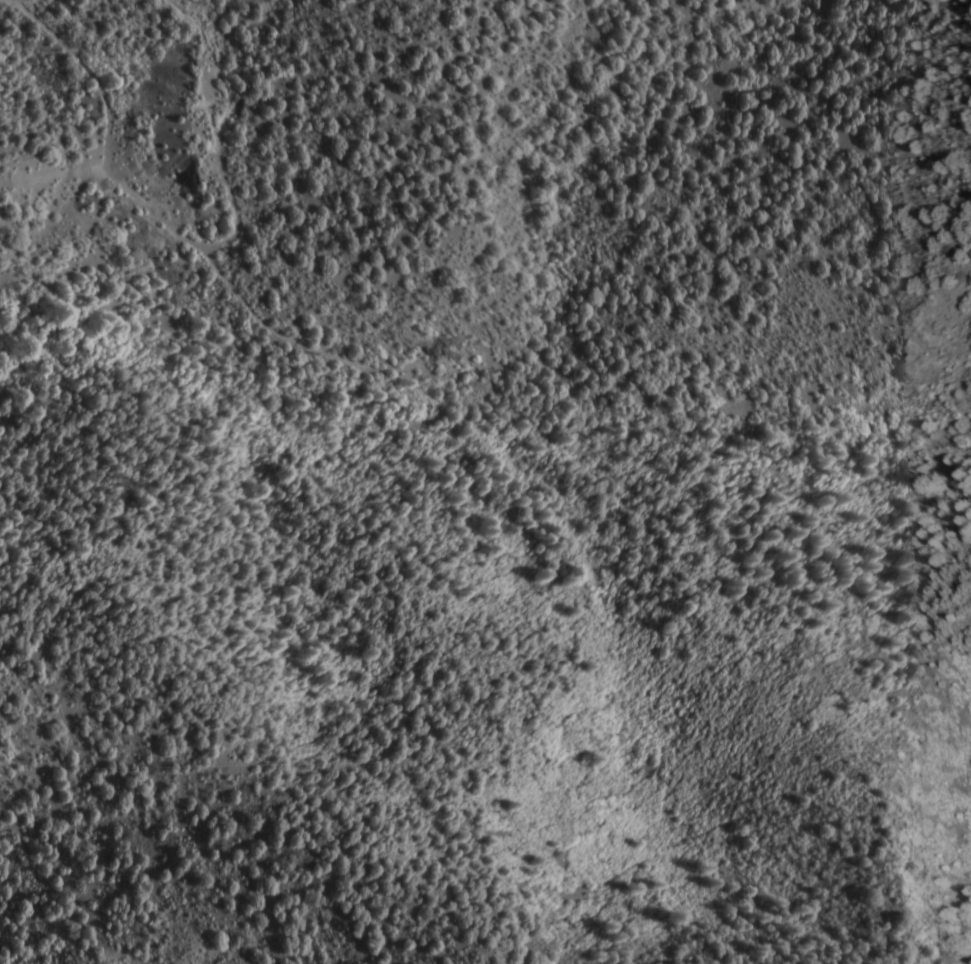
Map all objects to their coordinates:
road: (155, 215)
road: (300, 349)

